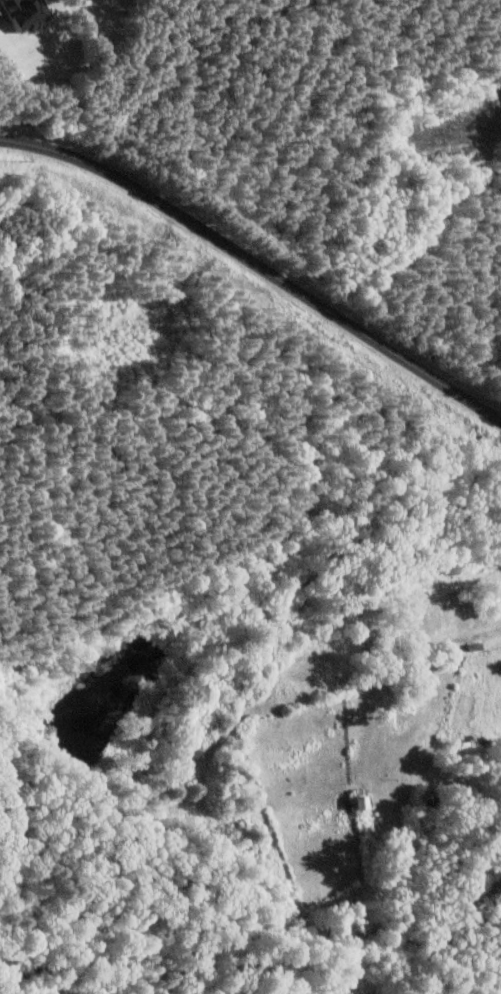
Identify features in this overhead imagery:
building: (21, 12)
road: (257, 265)
building: (420, 622)
road: (487, 631)
dam: (100, 777)
building: (354, 802)

